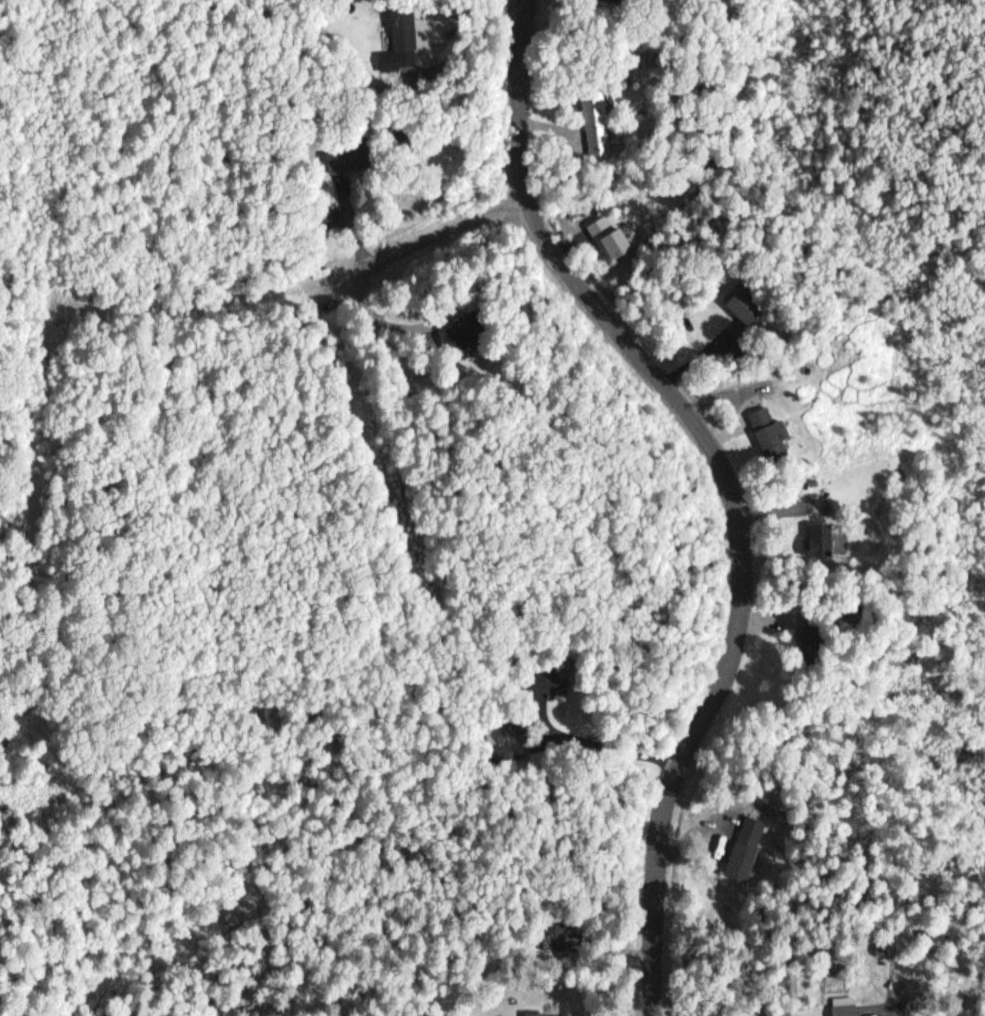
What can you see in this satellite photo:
building: (406, 32)
building: (596, 123)
building: (370, 159)
building: (614, 240)
road: (296, 293)
road: (47, 312)
building: (748, 316)
building: (472, 333)
building: (776, 436)
road: (728, 484)
building: (566, 674)
building: (749, 849)
building: (843, 1010)
building: (542, 1013)

